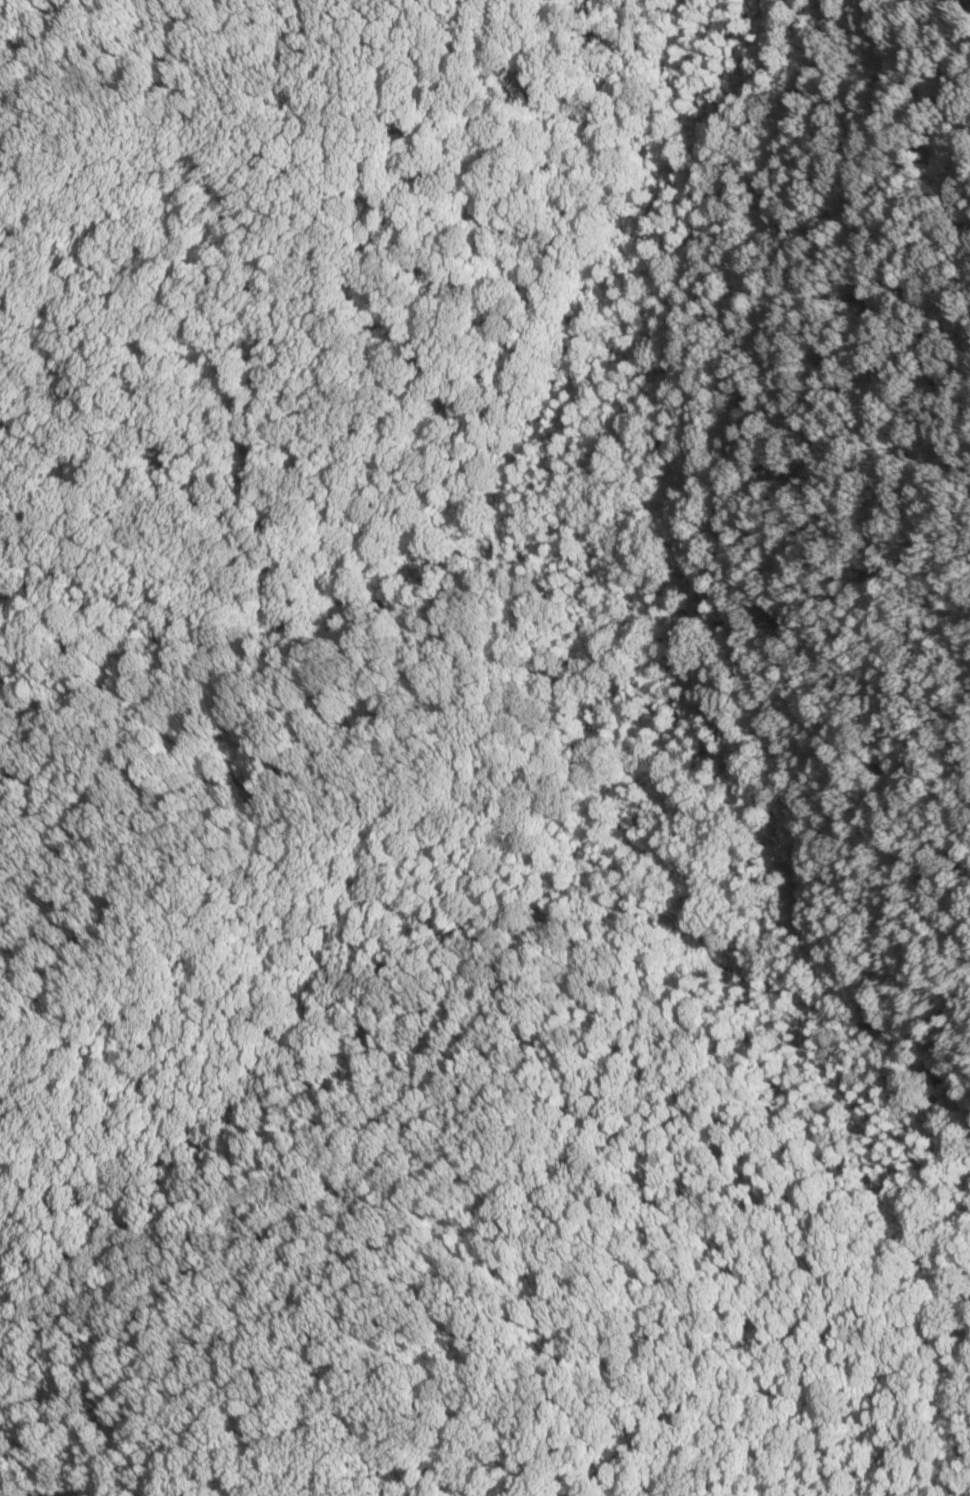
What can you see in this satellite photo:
road: (715, 593)

